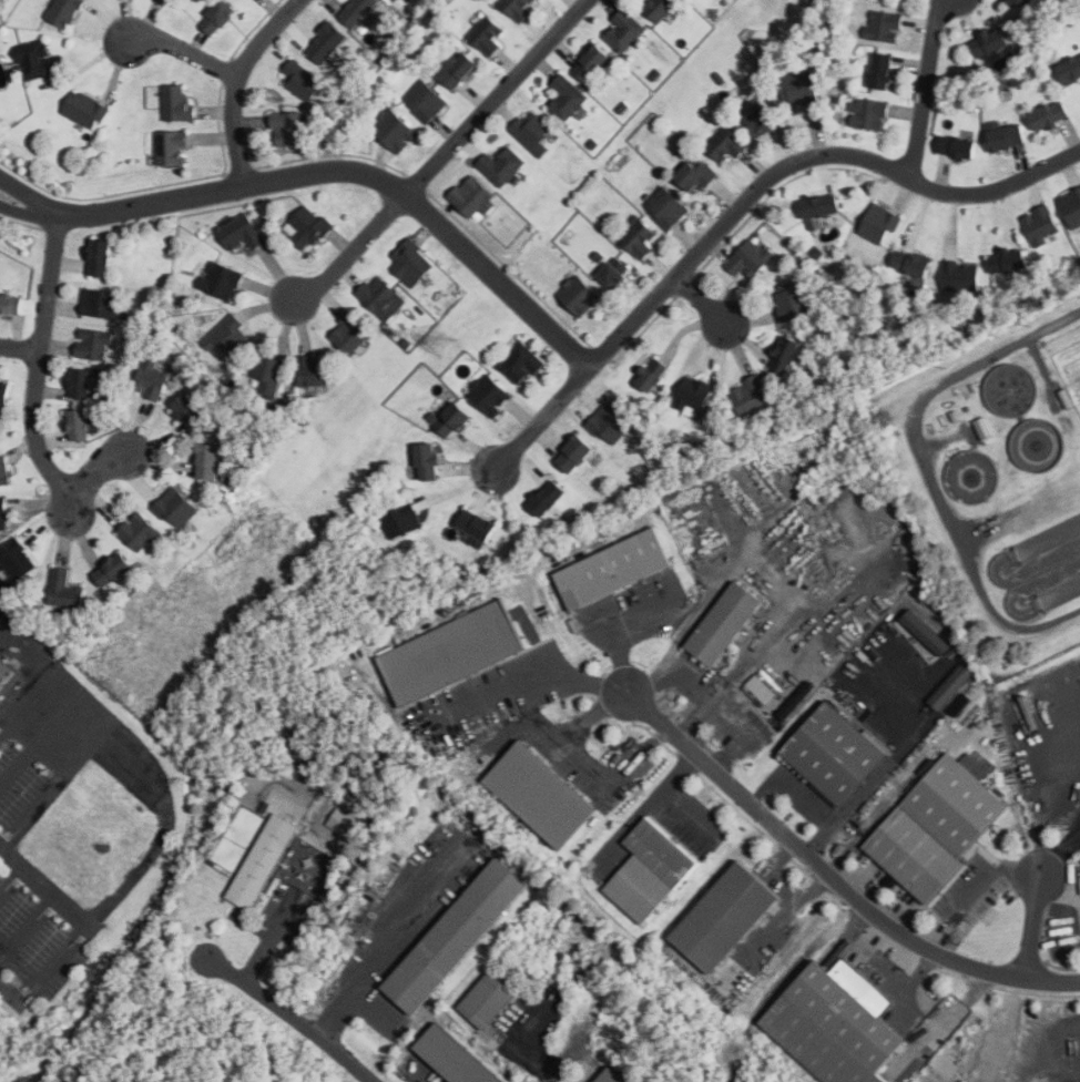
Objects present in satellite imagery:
building: (170, 0)
building: (411, 0)
building: (1019, 2)
building: (519, 7)
building: (660, 8)
building: (356, 10)
building: (64, 12)
building: (217, 18)
building: (884, 25)
building: (624, 30)
building: (486, 35)
building: (989, 42)
building: (327, 45)
road: (186, 52)
building: (37, 60)
building: (592, 63)
building: (1070, 70)
building: (460, 71)
building: (882, 71)
building: (302, 81)
road: (241, 83)
building: (799, 89)
road: (925, 89)
building: (567, 99)
building: (426, 101)
building: (179, 104)
building: (85, 110)
building: (870, 114)
building: (1051, 115)
building: (763, 121)
building: (751, 122)
building: (288, 130)
building: (396, 131)
building: (532, 132)
building: (1007, 137)
building: (726, 145)
building: (958, 147)
building: (171, 149)
road: (441, 154)
building: (502, 166)
building: (696, 175)
road: (358, 177)
building: (472, 197)
road: (747, 202)
building: (1071, 206)
building: (668, 208)
building: (821, 208)
road: (53, 213)
building: (879, 224)
building: (1041, 224)
building: (308, 227)
building: (241, 232)
building: (639, 237)
building: (100, 257)
building: (751, 257)
building: (411, 262)
building: (1008, 262)
building: (911, 263)
building: (614, 272)
building: (960, 275)
building: (221, 280)
building: (379, 296)
building: (580, 296)
road: (699, 299)
building: (793, 299)
building: (100, 303)
building: (11, 305)
building: (350, 333)
building: (228, 334)
power tower: (442, 339)
building: (94, 343)
road: (20, 347)
building: (786, 355)
road: (39, 361)
building: (523, 363)
building: (314, 370)
building: (653, 375)
building: (268, 376)
building: (152, 380)
building: (82, 384)
building: (6, 392)
building: (695, 394)
building: (490, 395)
building: (750, 395)
building: (191, 414)
building: (452, 420)
building: (610, 423)
building: (79, 426)
building: (984, 428)
building: (575, 455)
building: (210, 462)
building: (428, 462)
road: (929, 468)
building: (6, 470)
road: (85, 482)
building: (548, 499)
building: (176, 508)
building: (3, 517)
building: (401, 521)
building: (478, 529)
building: (139, 532)
building: (17, 559)
building: (614, 569)
building: (113, 570)
road: (778, 581)
building: (64, 589)
road: (621, 623)
building: (725, 624)
building: (452, 653)
building: (6, 659)
building: (7, 677)
road: (529, 680)
road: (650, 684)
building: (1, 700)
road: (526, 719)
building: (1, 729)
road: (571, 738)
road: (40, 742)
building: (837, 754)
road: (141, 757)
road: (58, 784)
building: (542, 796)
building: (956, 802)
road: (801, 803)
road: (645, 805)
road: (1045, 810)
road: (681, 815)
building: (915, 856)
building: (263, 862)
building: (305, 862)
building: (651, 871)
road: (12, 877)
road: (832, 878)
road: (47, 881)
road: (789, 884)
building: (727, 918)
road: (29, 923)
road: (1035, 927)
road: (766, 935)
building: (458, 937)
road: (384, 947)
road: (47, 968)
road: (778, 981)
building: (489, 1000)
road: (293, 1017)
building: (837, 1022)
building: (456, 1057)
road: (578, 1061)
building: (613, 1075)

